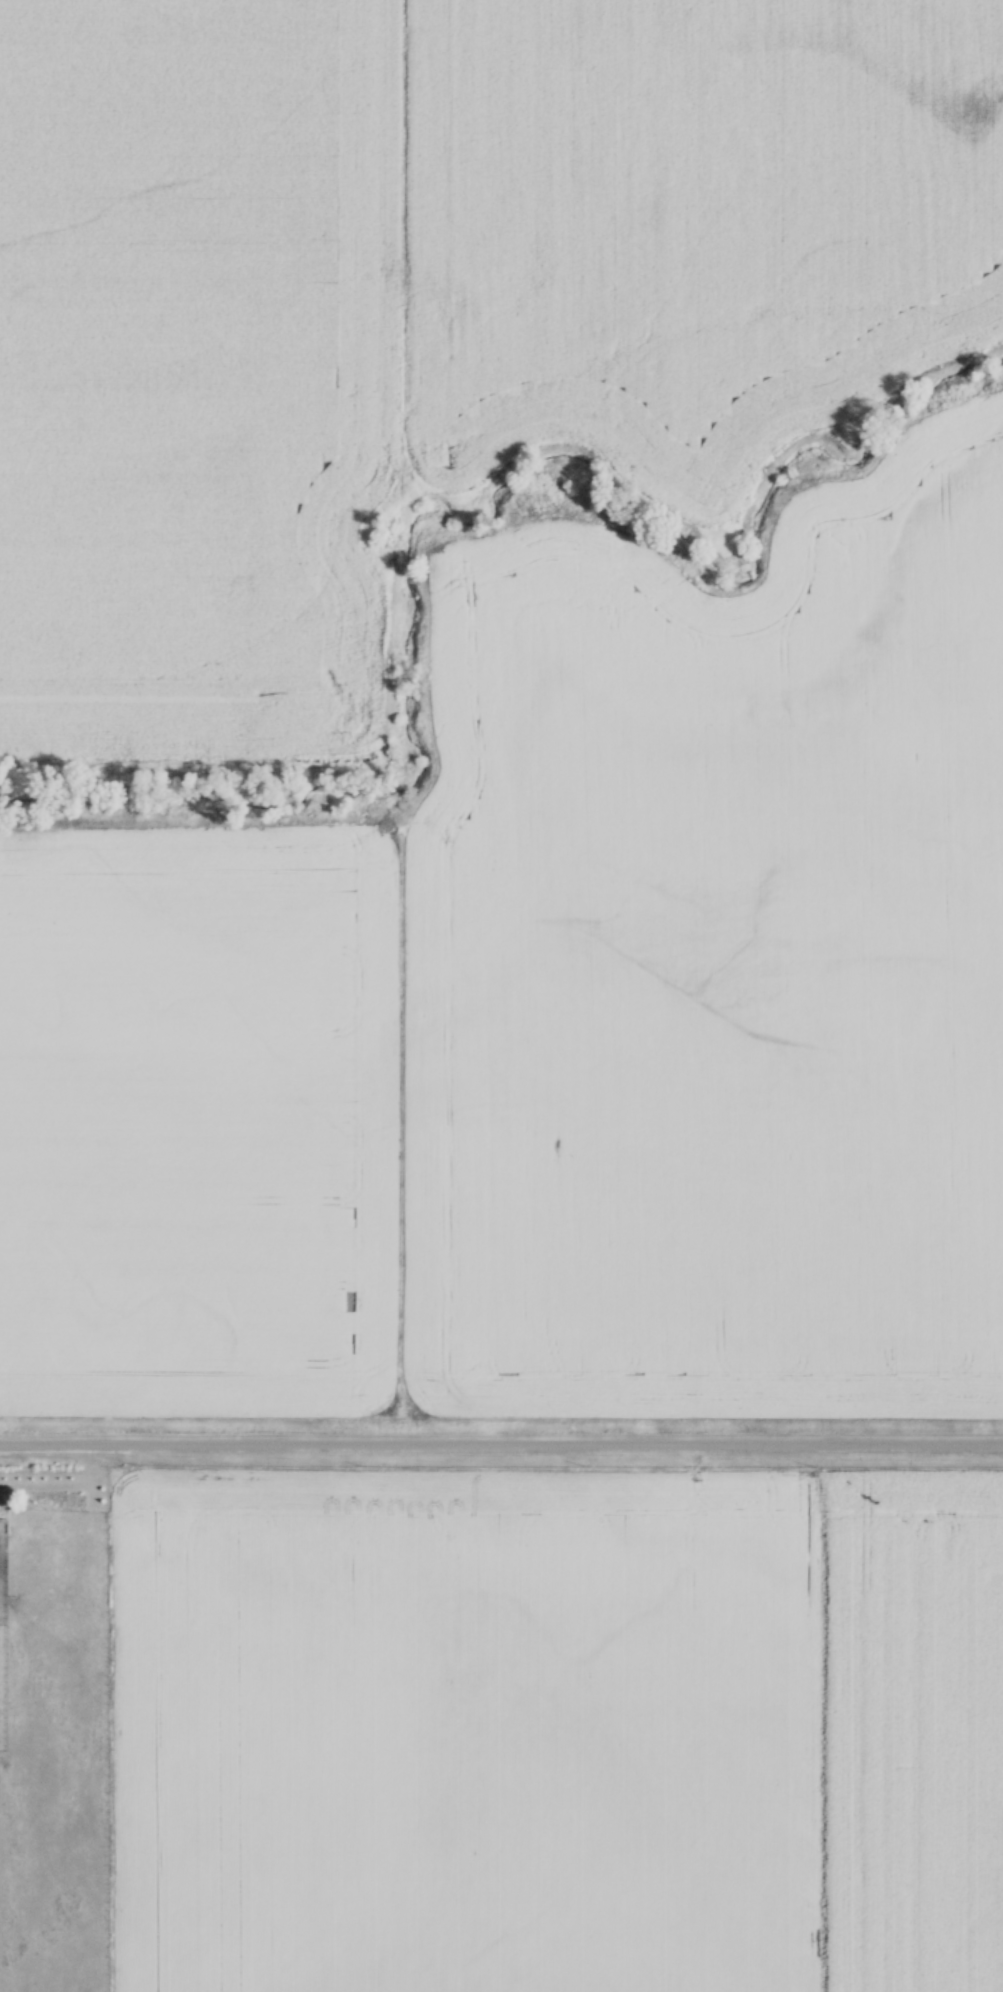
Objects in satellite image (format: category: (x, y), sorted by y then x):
road: (501, 1443)

